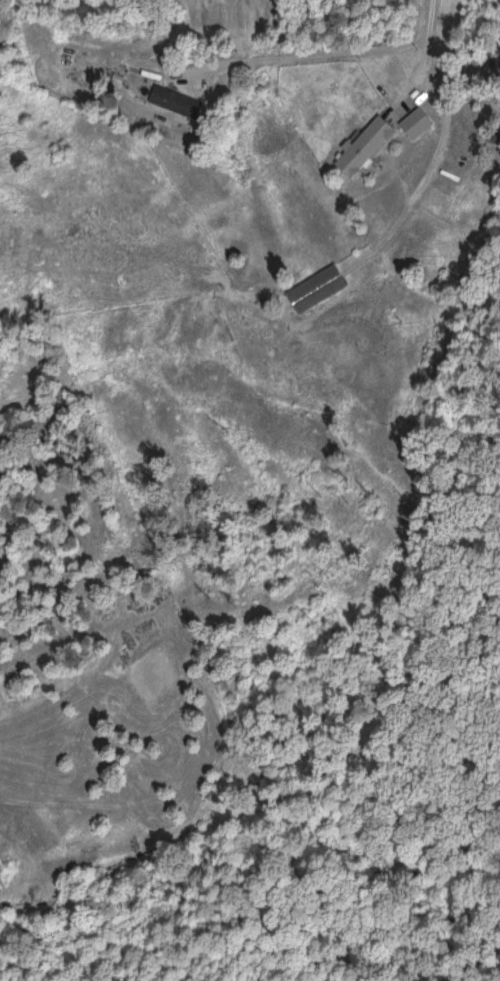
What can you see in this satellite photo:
road: (426, 53)
road: (300, 55)
building: (176, 99)
building: (417, 120)
building: (365, 144)
building: (318, 286)

